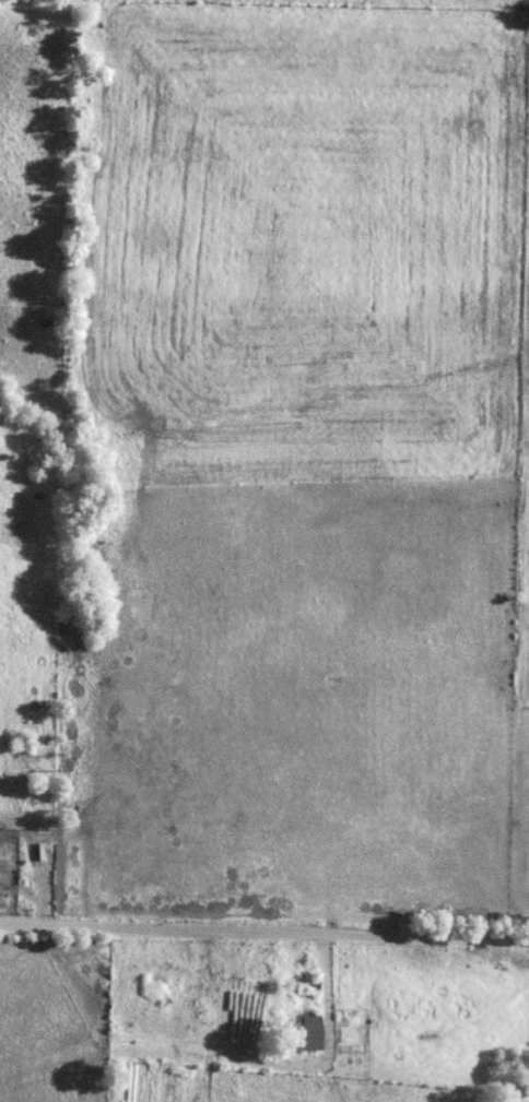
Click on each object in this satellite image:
road: (264, 933)
building: (316, 1032)

